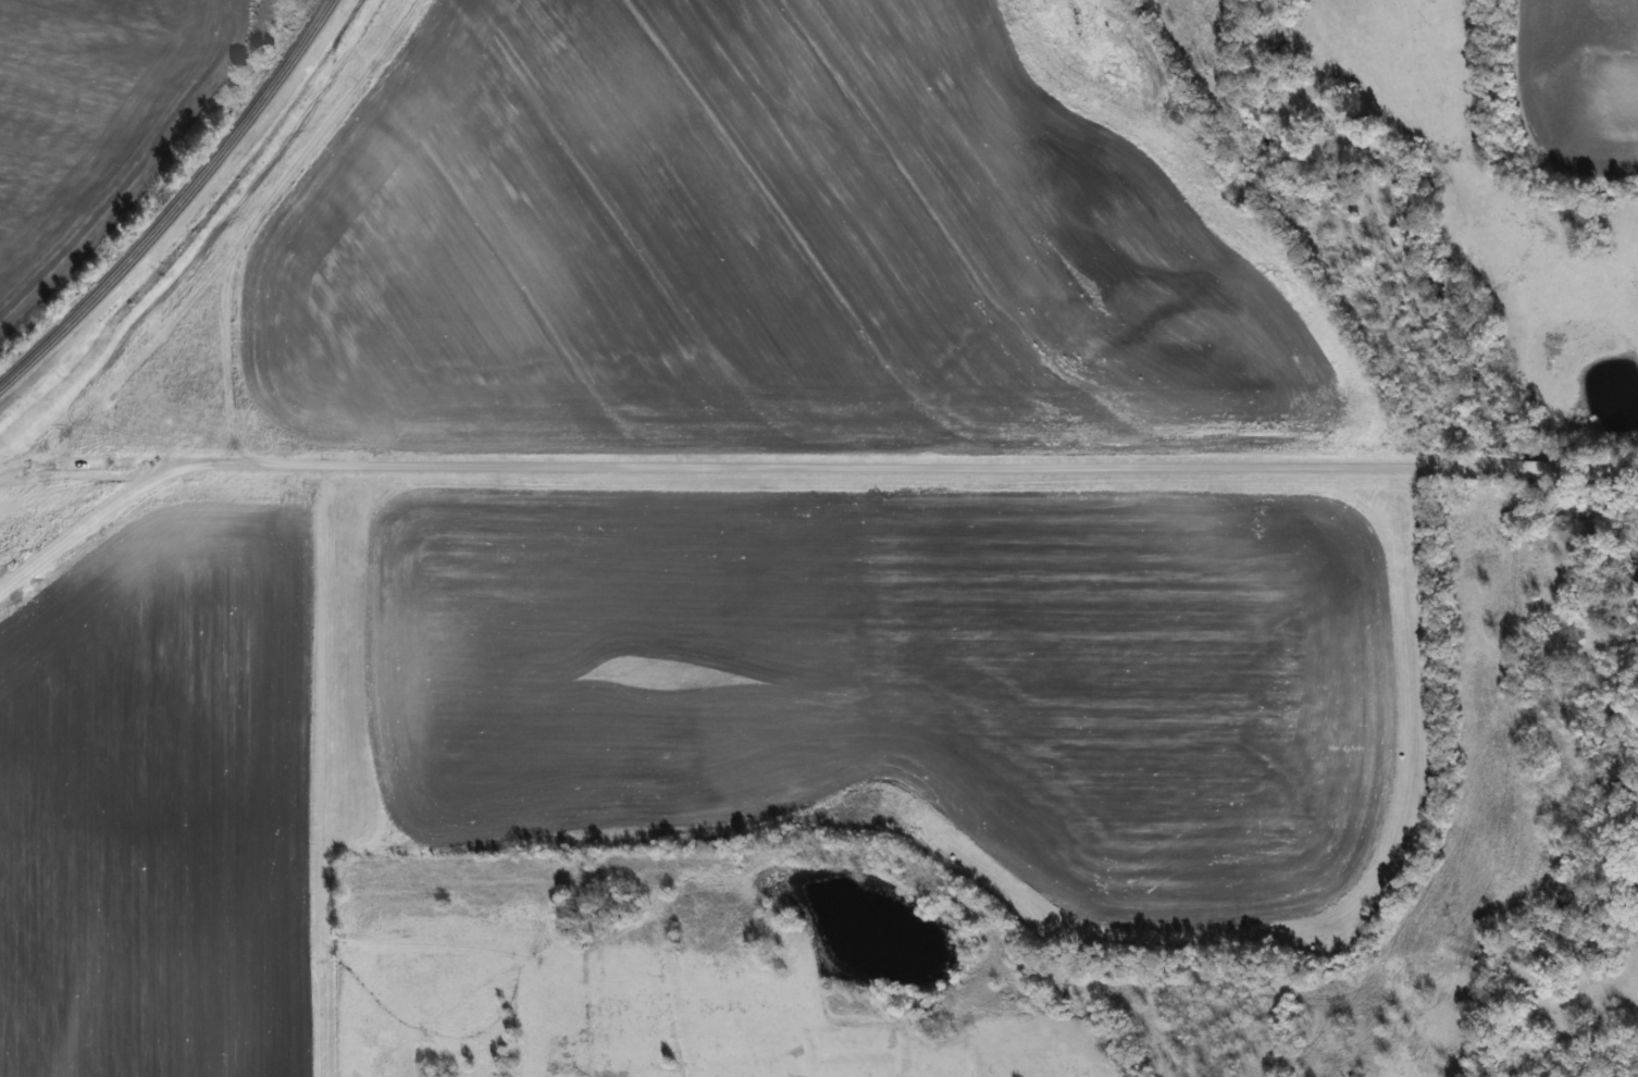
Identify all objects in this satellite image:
railway: (176, 203)
road: (801, 466)
river: (1616, 543)
river: (1589, 929)

